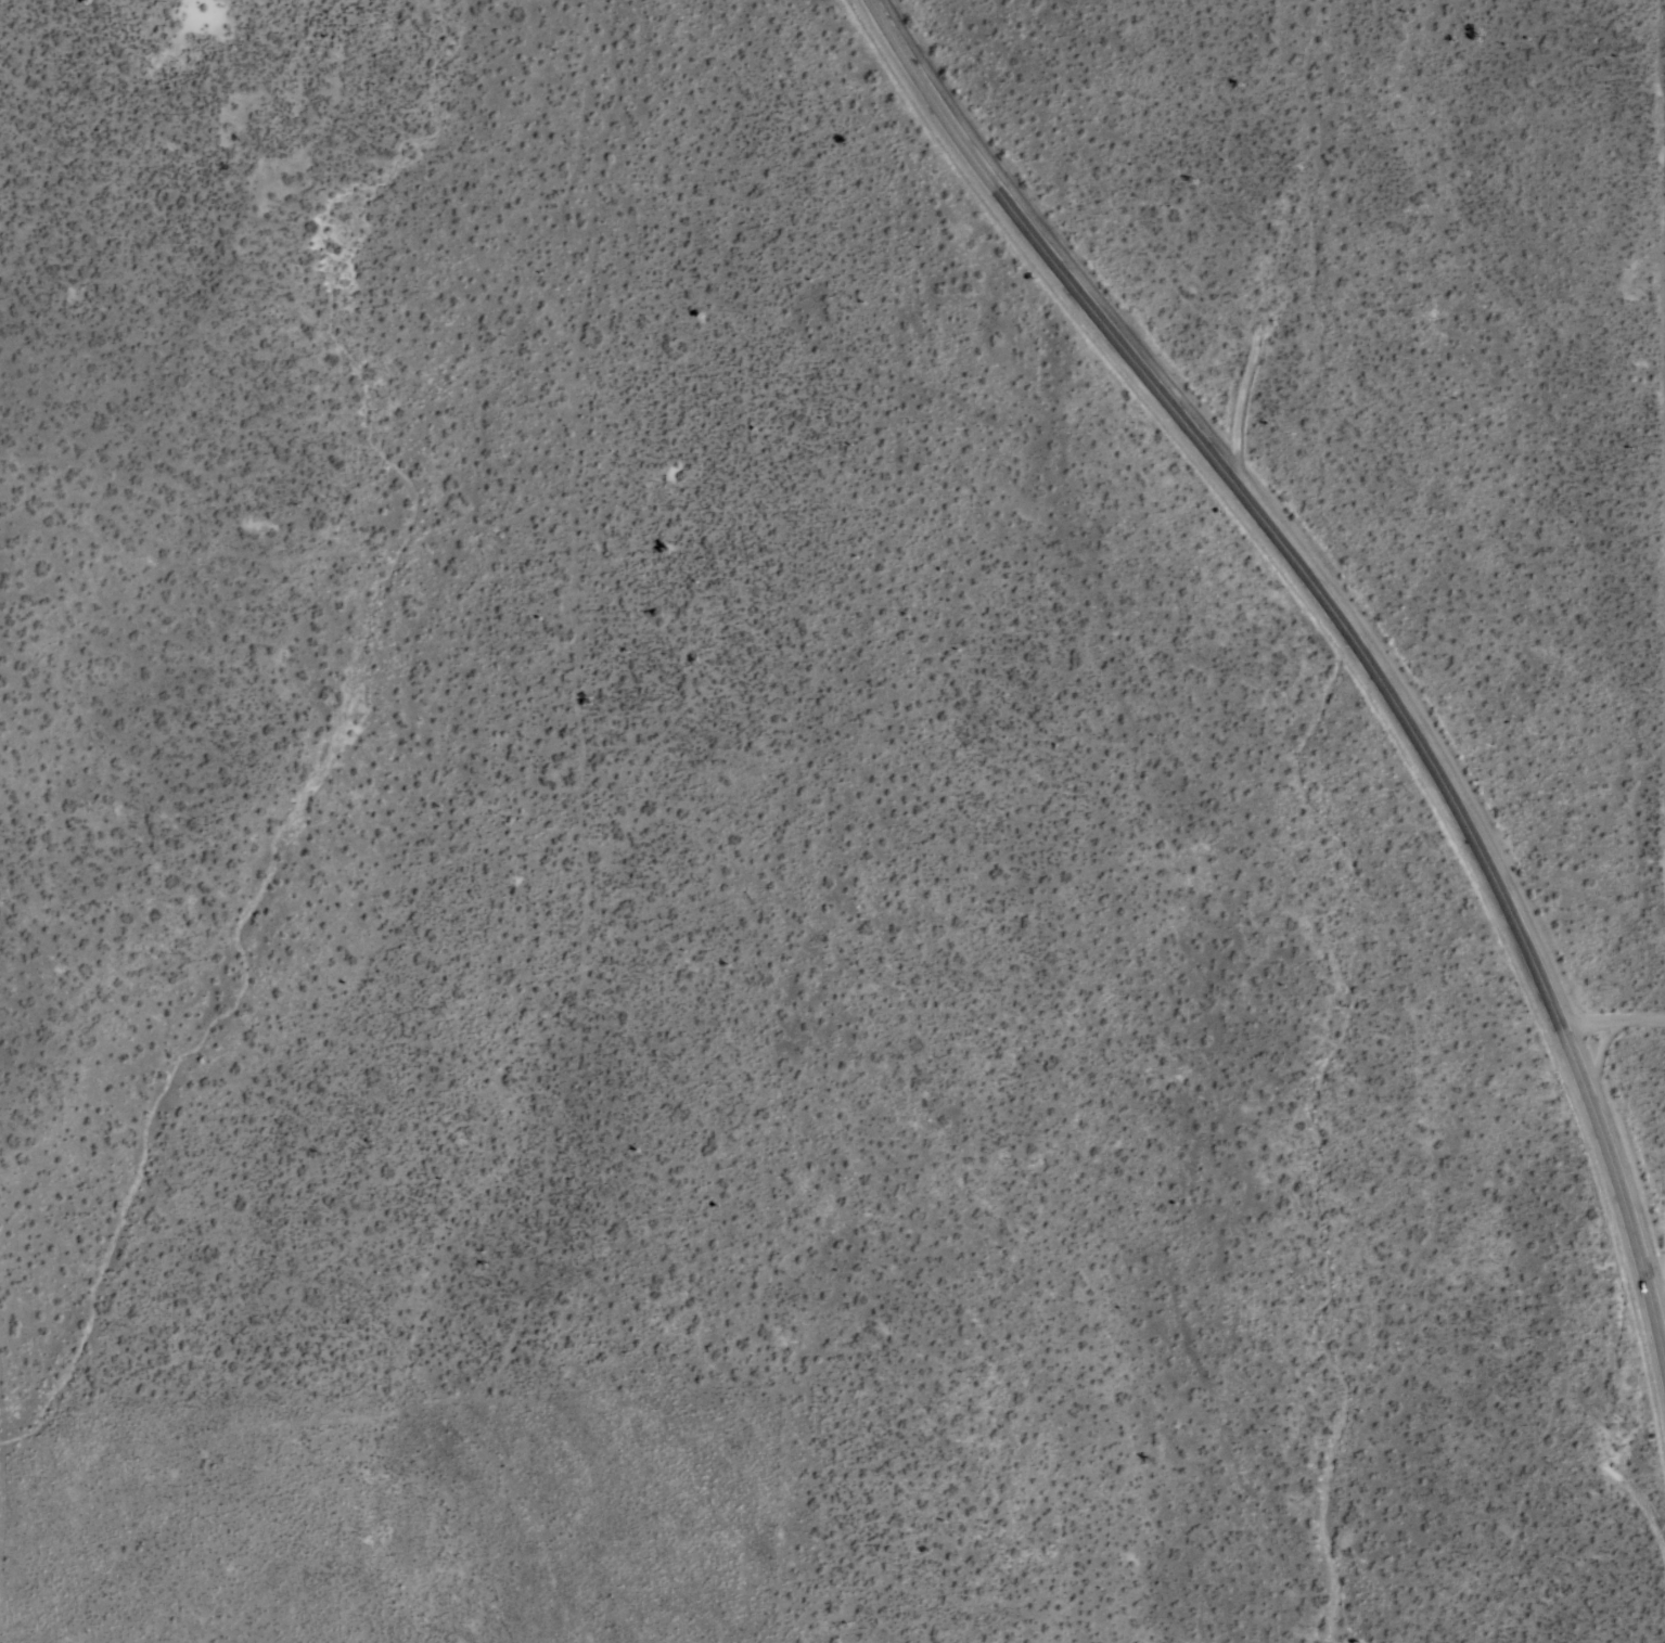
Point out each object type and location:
road: (1339, 639)
road: (1616, 1040)

